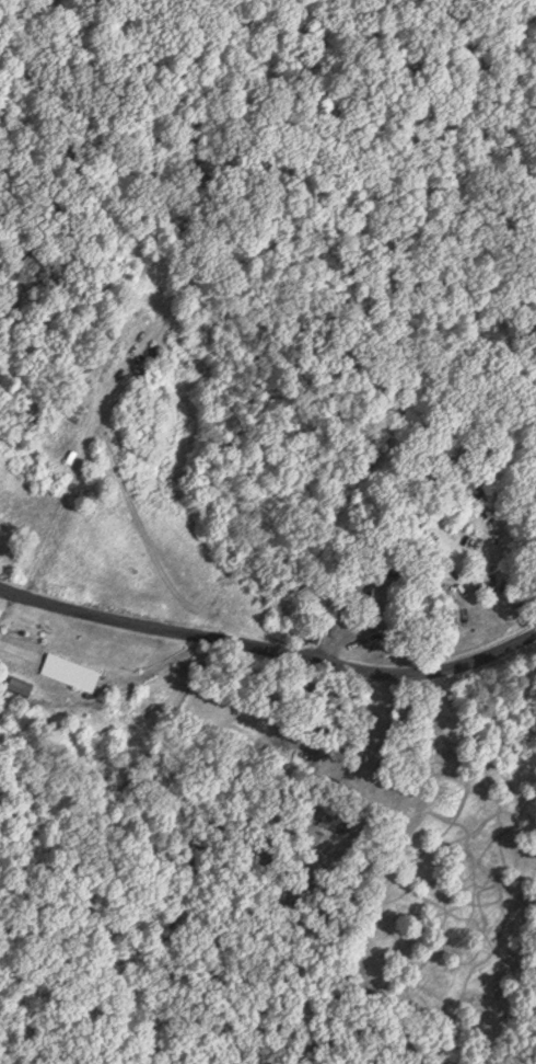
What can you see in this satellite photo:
road: (269, 650)

